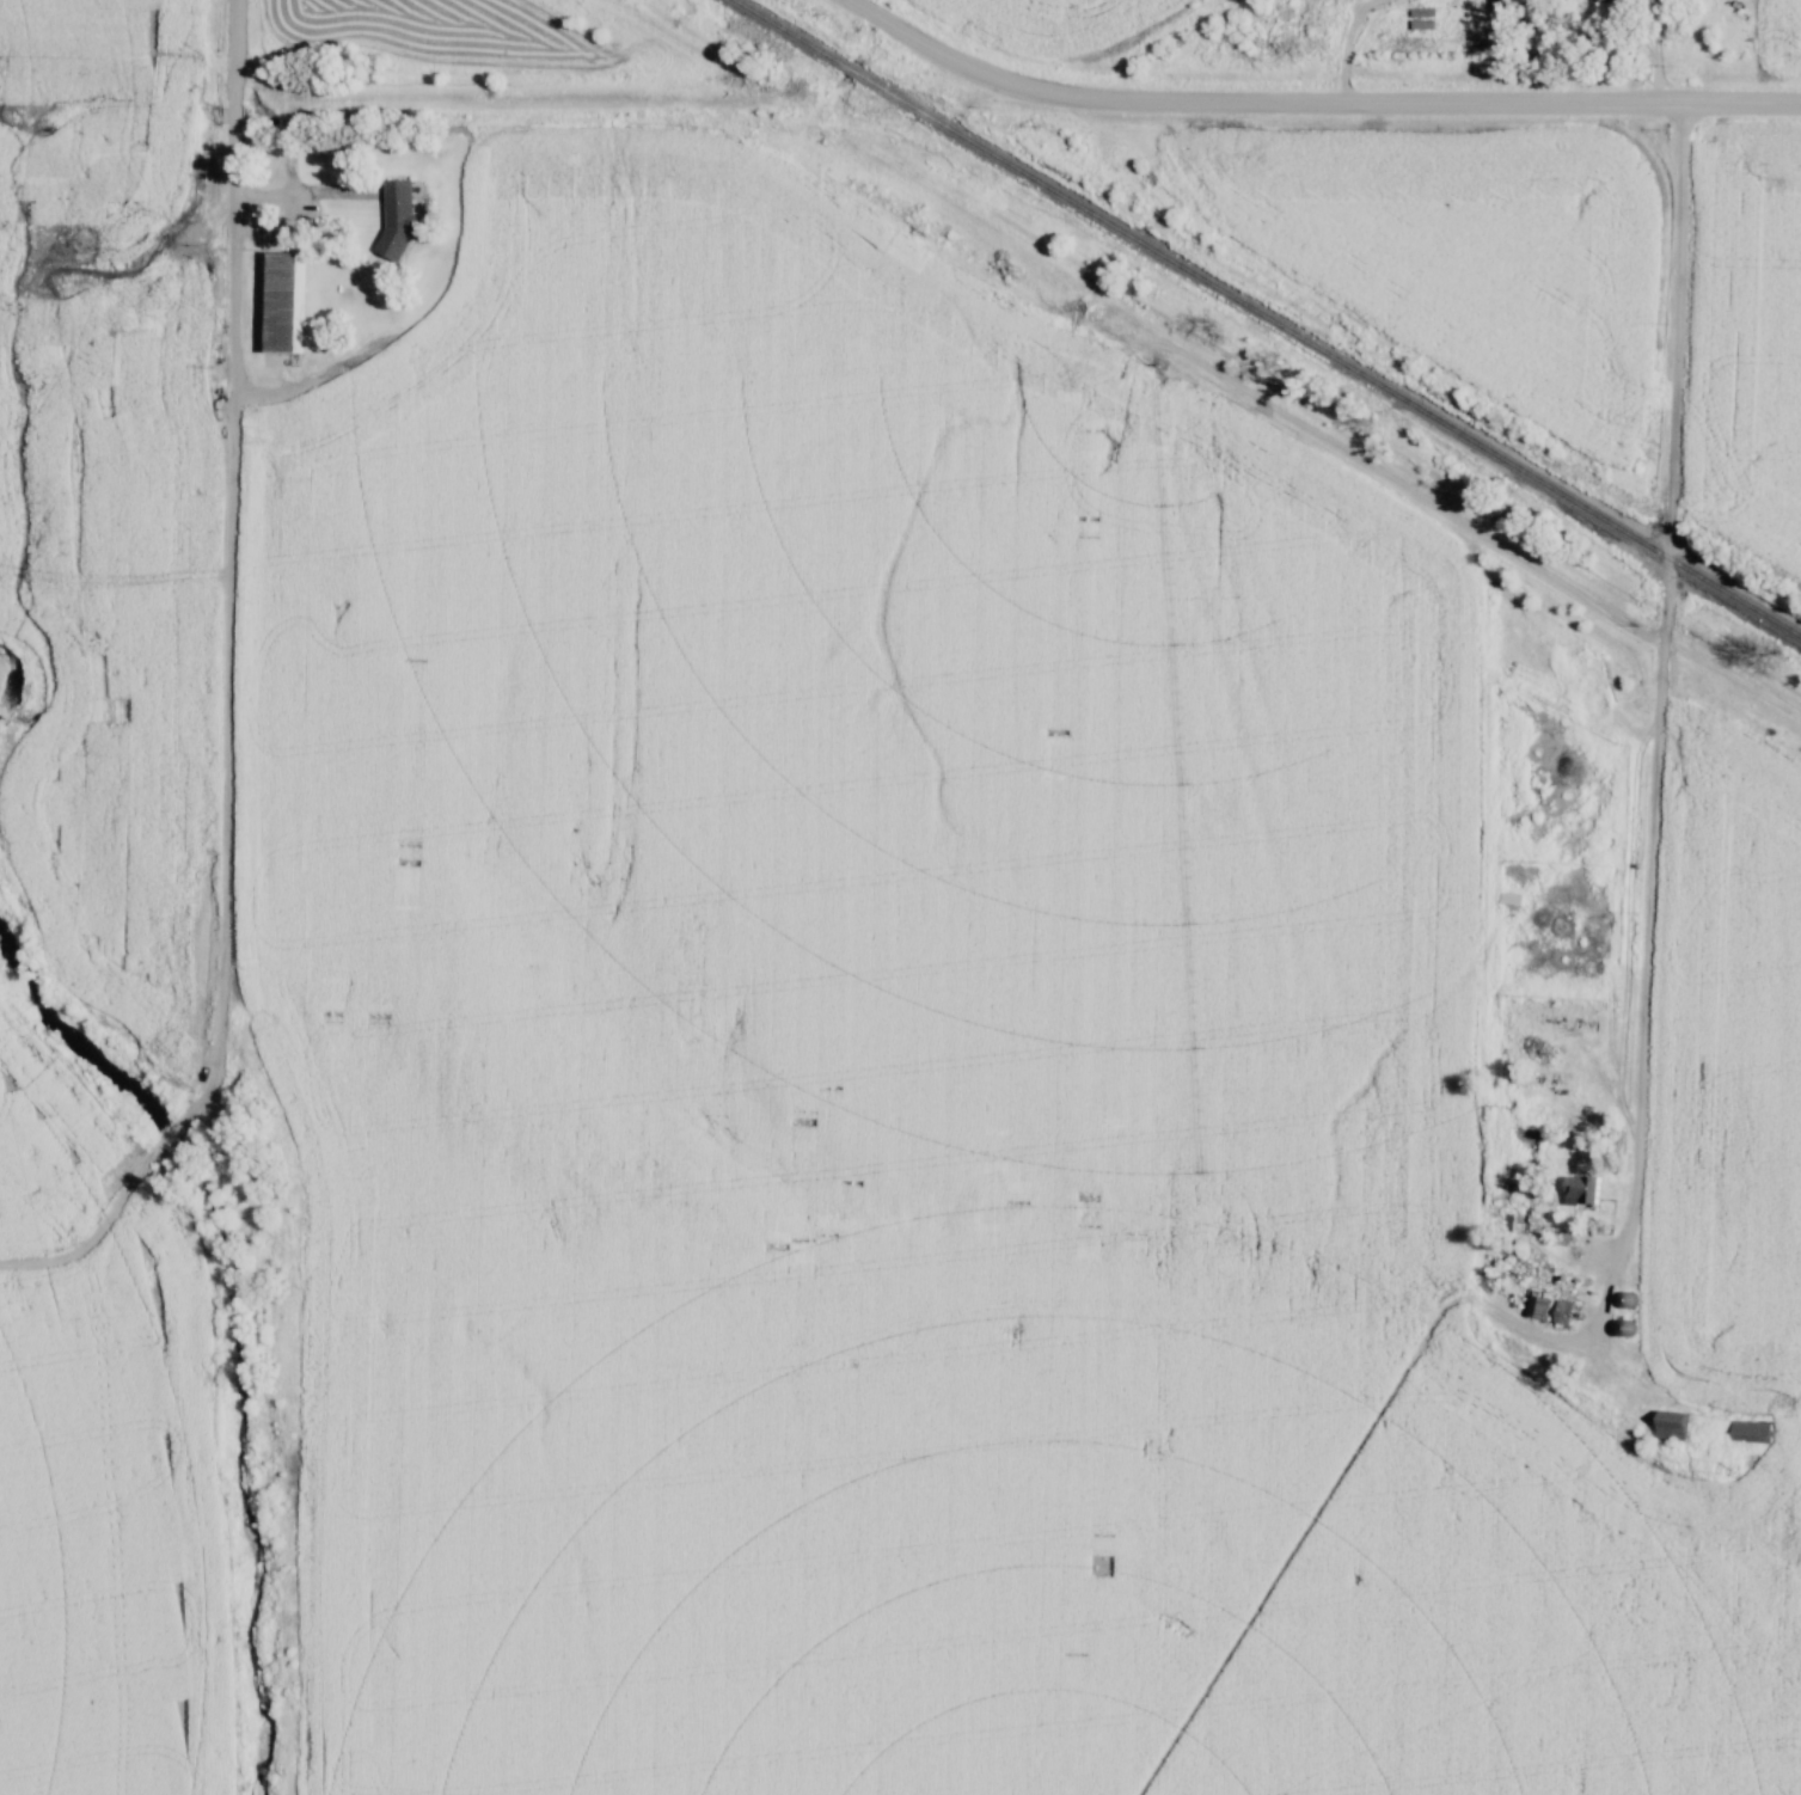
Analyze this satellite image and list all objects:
building: (1607, 2)
road: (1660, 51)
road: (1311, 103)
road: (232, 197)
building: (400, 218)
building: (280, 300)
railway: (1269, 317)
road: (1659, 691)
building: (529, 1108)
building: (582, 1139)
building: (625, 1146)
building: (1570, 1189)
building: (1533, 1303)
building: (1557, 1311)
building: (1666, 1425)
building: (1746, 1431)

